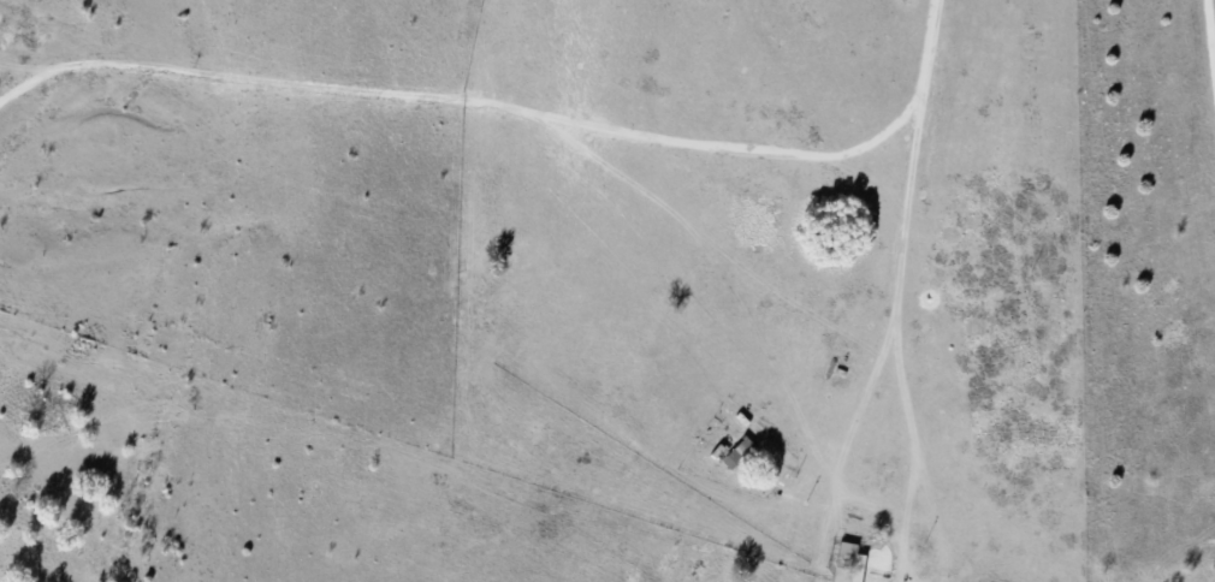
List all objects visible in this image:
road: (1003, 152)
road: (955, 338)
building: (740, 451)

